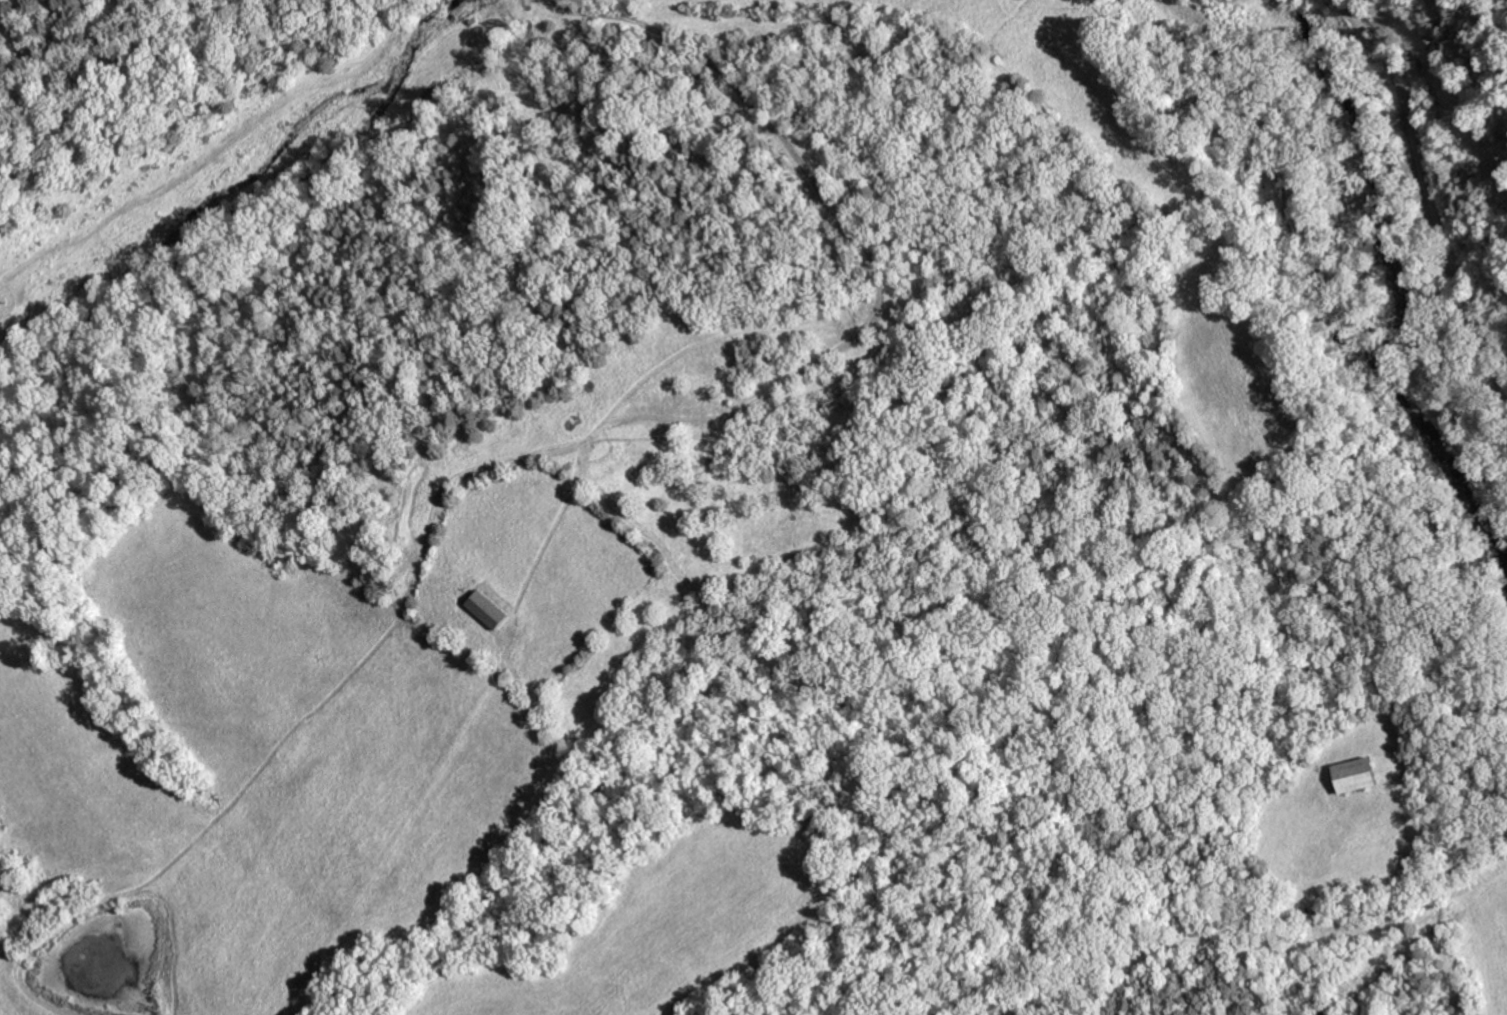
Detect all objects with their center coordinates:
road: (1425, 203)

